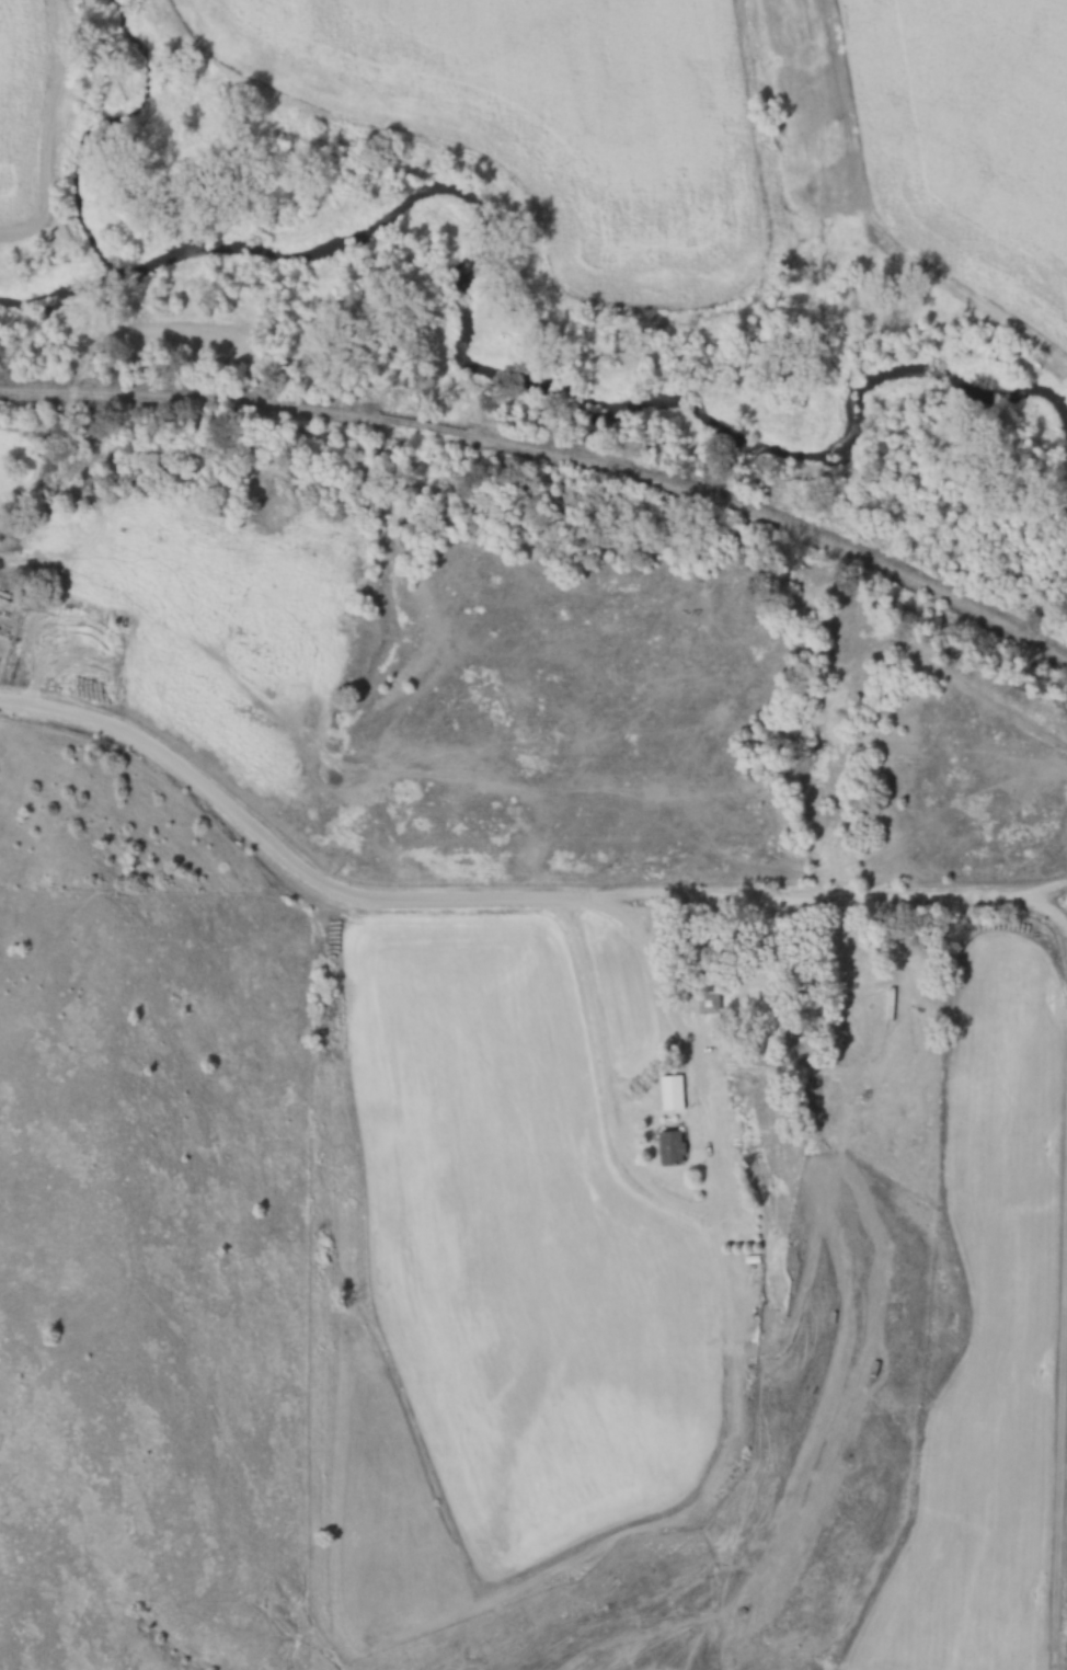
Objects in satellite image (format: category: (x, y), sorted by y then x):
crop: (24, 105)
crop: (557, 112)
crop: (971, 156)
railway: (186, 397)
railway: (390, 416)
railway: (745, 511)
road: (49, 607)
road: (268, 843)
building: (707, 1002)
building: (891, 1004)
building: (672, 1099)
building: (668, 1148)
road: (718, 1205)

